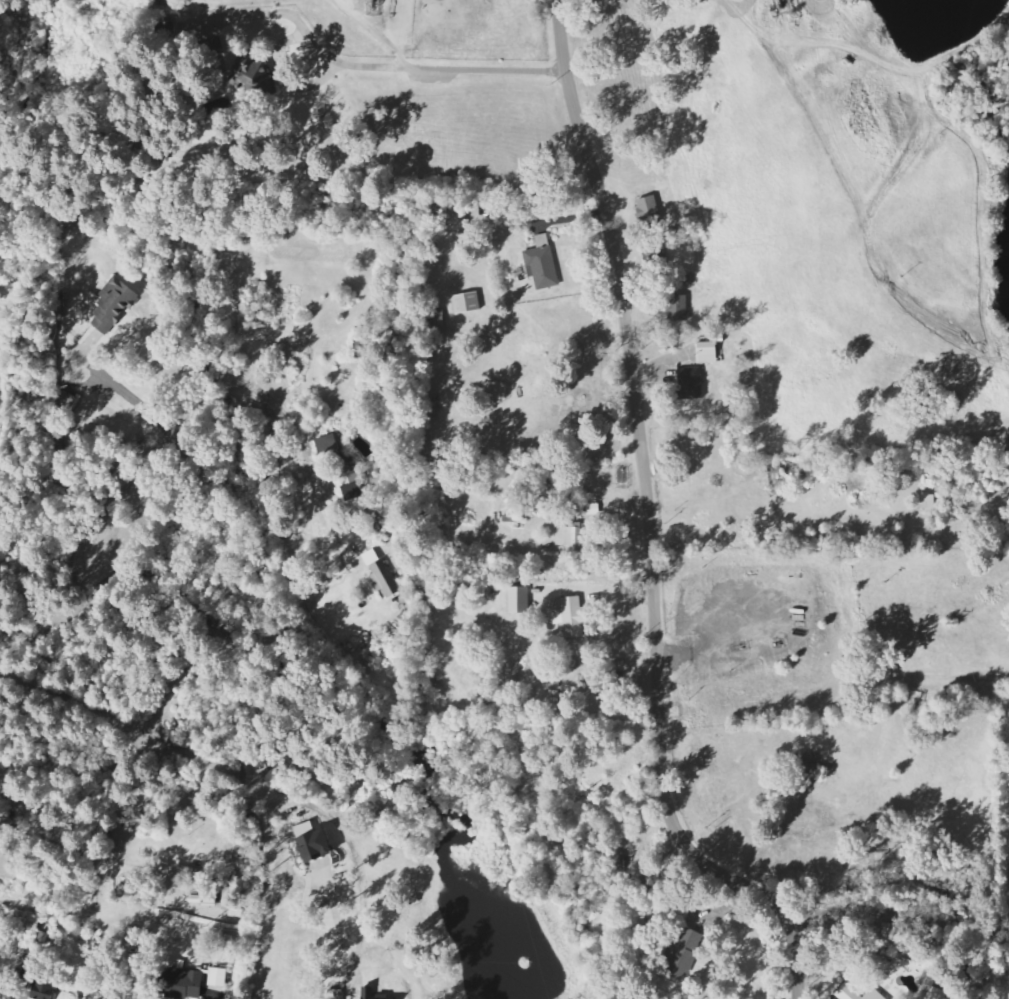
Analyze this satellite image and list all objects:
road: (437, 68)
road: (1006, 102)
road: (879, 196)
building: (497, 211)
building: (453, 221)
building: (543, 264)
building: (467, 303)
building: (113, 307)
building: (679, 308)
building: (435, 320)
building: (708, 352)
building: (691, 384)
building: (539, 503)
road: (649, 524)
building: (569, 539)
building: (385, 580)
building: (520, 600)
building: (571, 616)
building: (313, 843)
road: (897, 908)
building: (234, 909)
building: (891, 936)
power tower: (346, 937)
building: (227, 943)
building: (683, 953)
building: (218, 978)
building: (185, 984)
building: (45, 990)
building: (368, 993)
building: (857, 994)
building: (939, 994)
building: (336, 995)
building: (396, 998)

